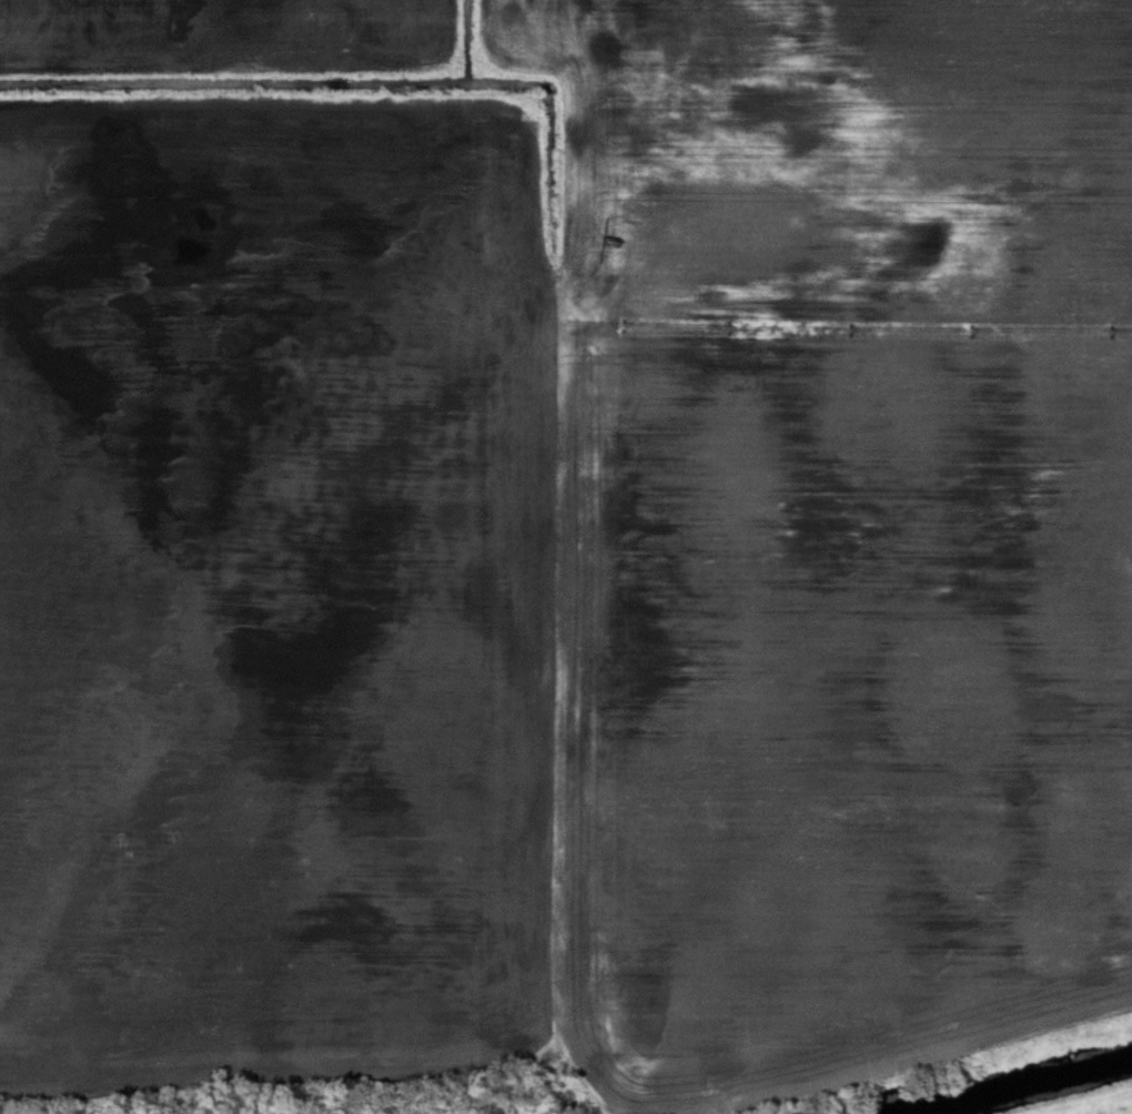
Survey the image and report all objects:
river: (997, 1084)

